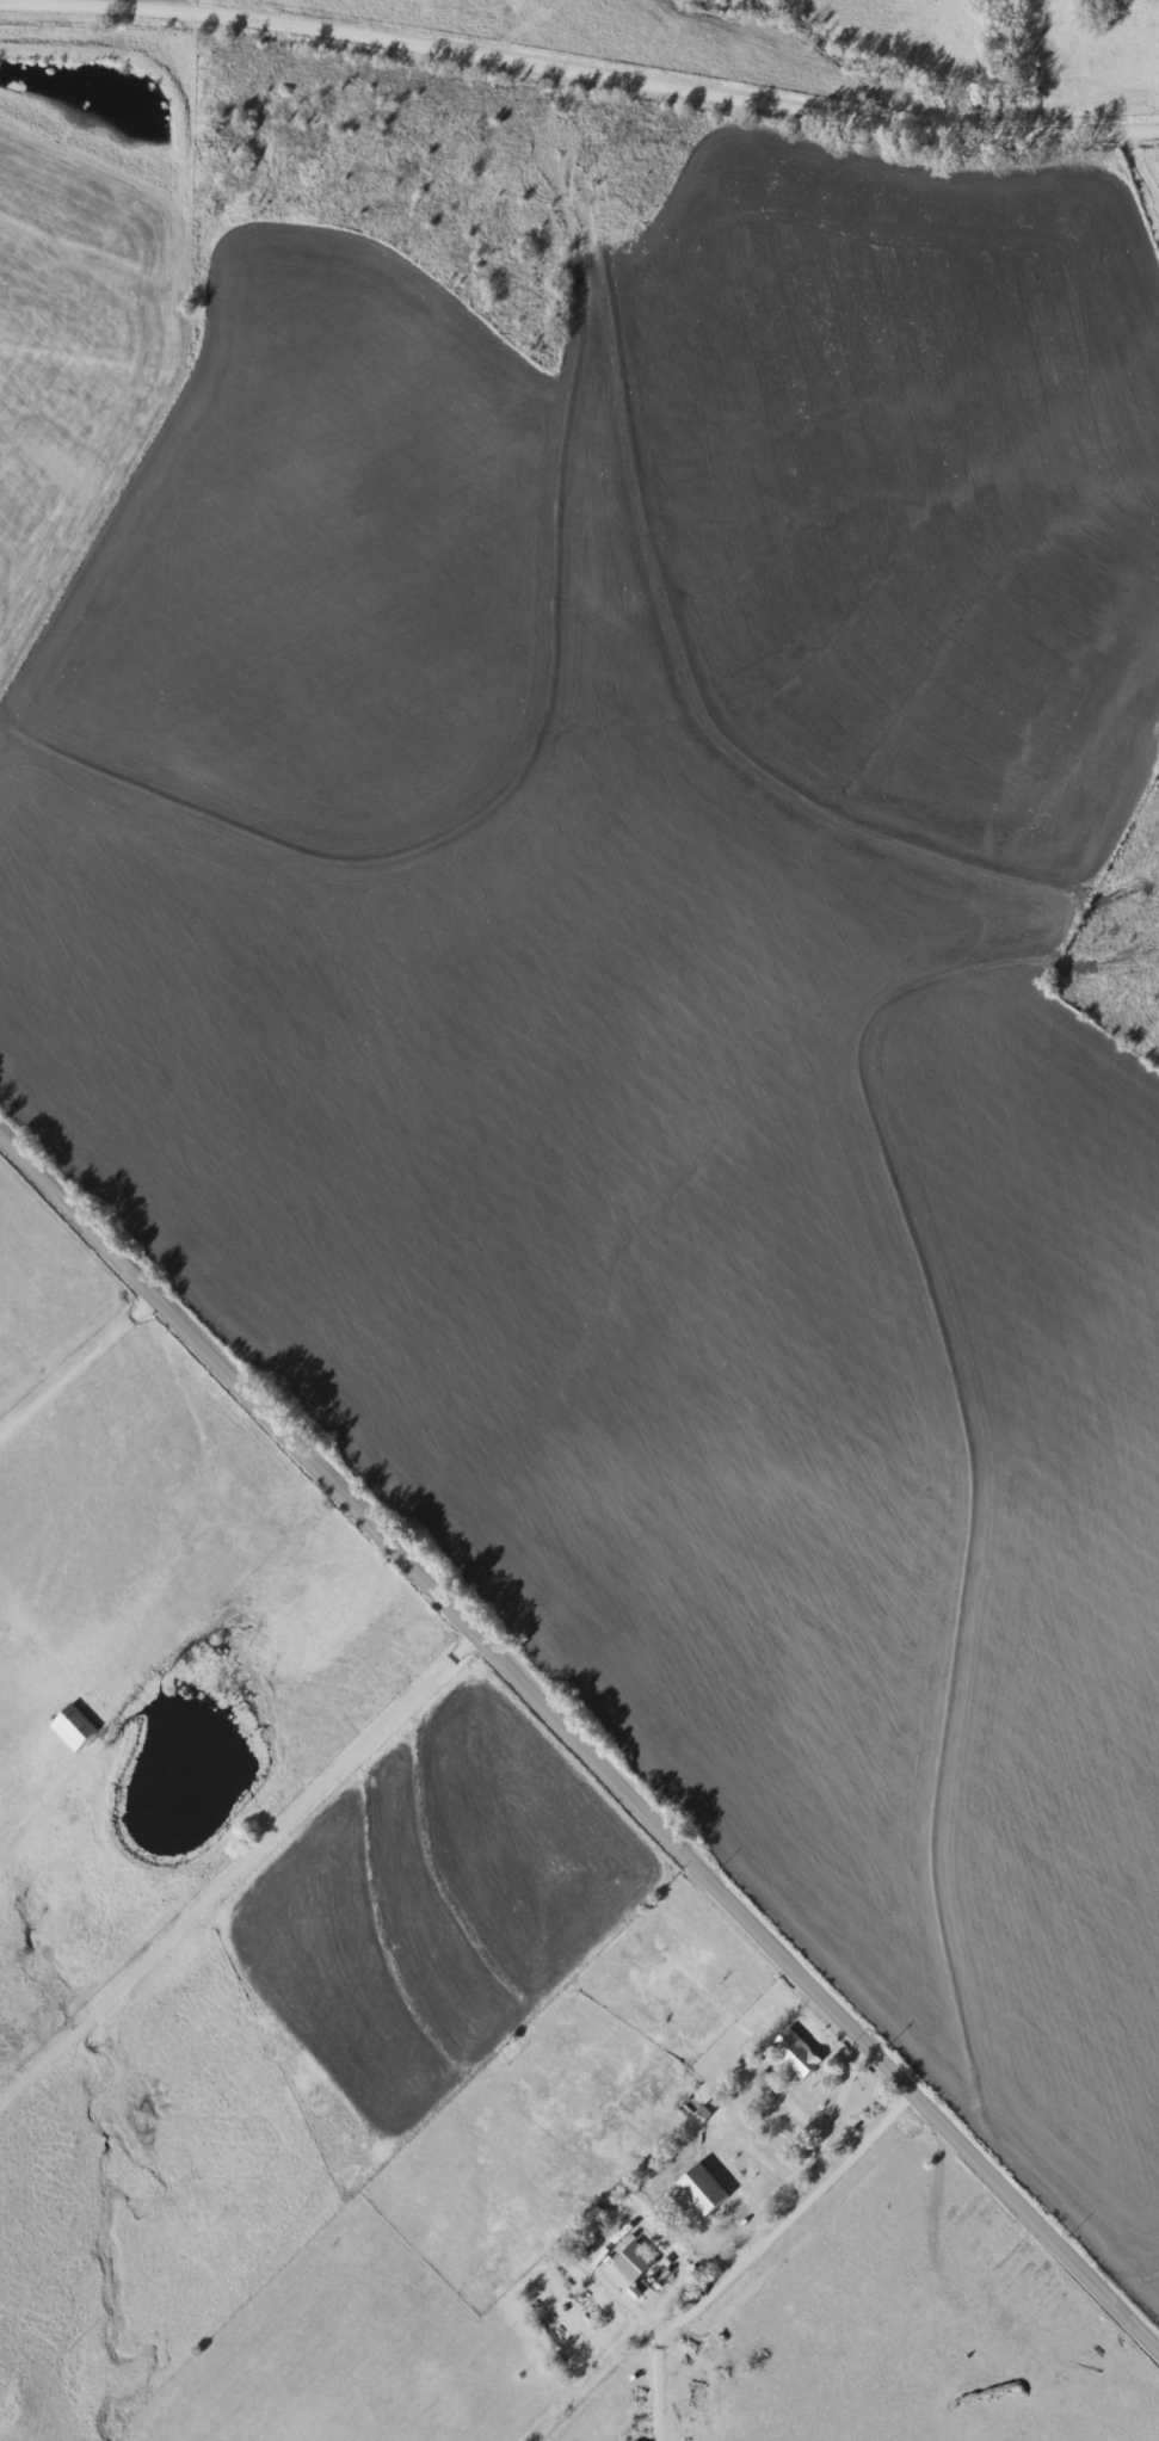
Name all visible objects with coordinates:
road: (579, 60)
road: (75, 1363)
building: (70, 1727)
road: (582, 1751)
building: (66, 1814)
road: (233, 1861)
building: (796, 2059)
building: (762, 2083)
building: (693, 2116)
road: (821, 2116)
building: (698, 2192)
road: (744, 2255)
building: (625, 2267)

